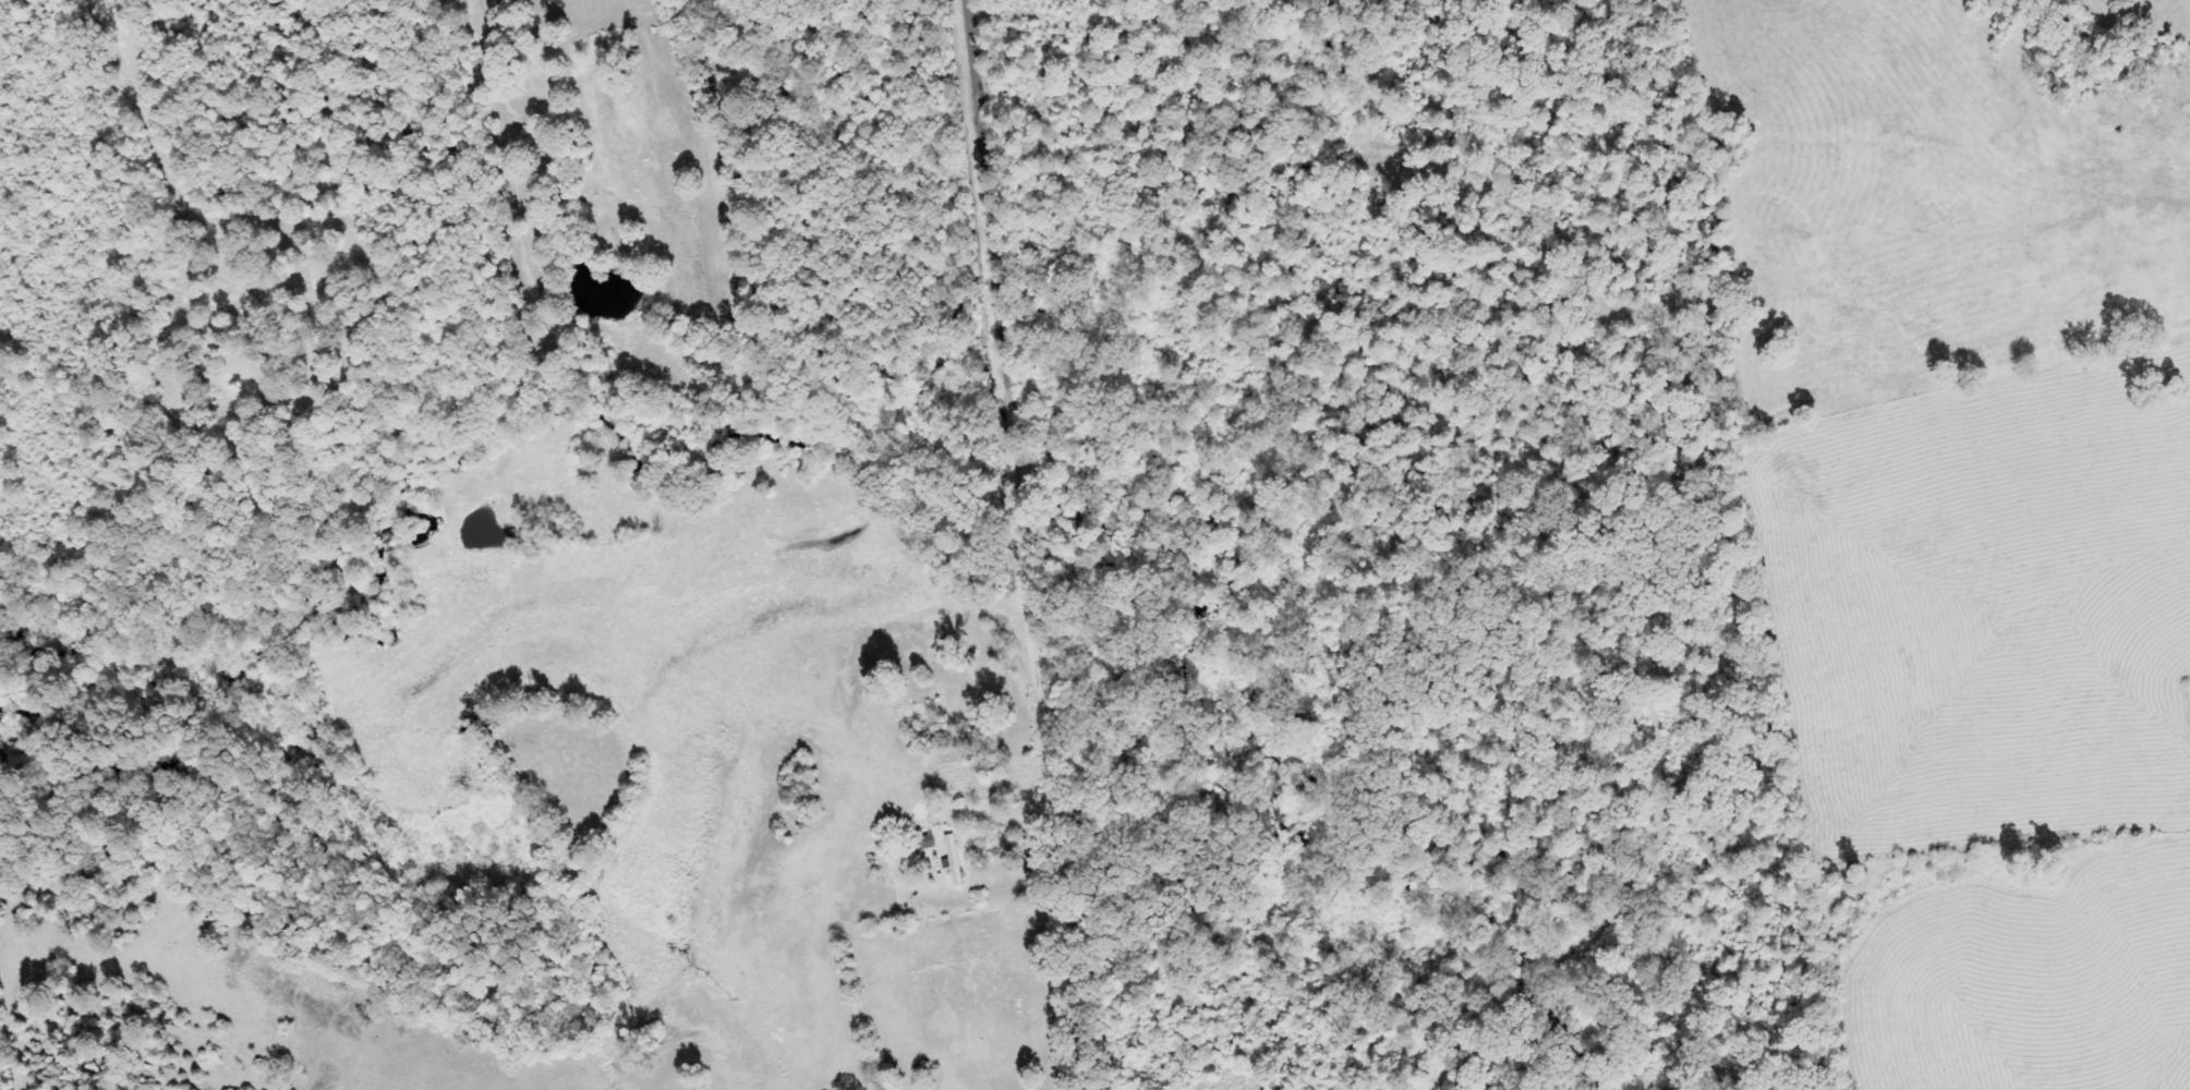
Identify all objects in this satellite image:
road: (1026, 546)

